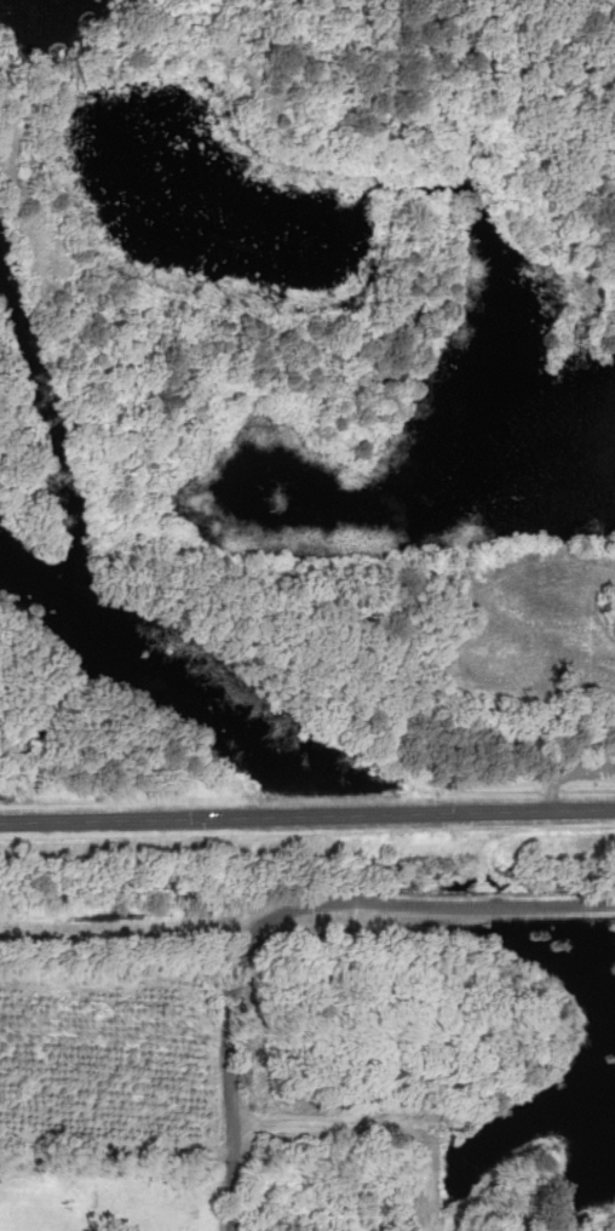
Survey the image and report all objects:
road: (307, 817)
road: (280, 914)
road: (375, 1126)
road: (117, 1150)

